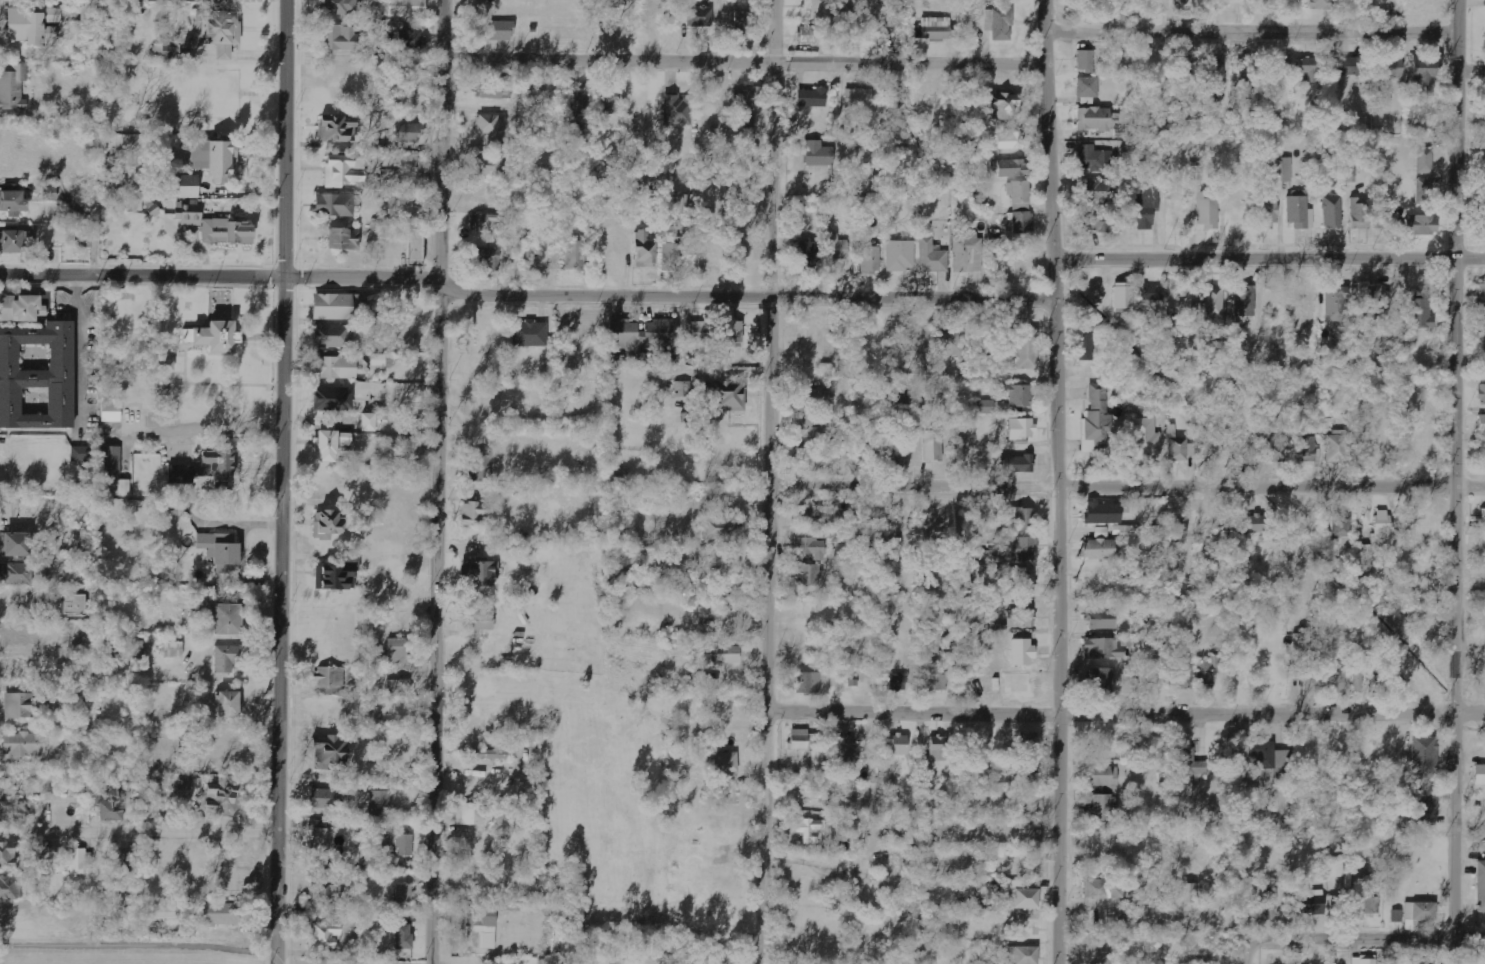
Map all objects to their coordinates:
building: (1182, 1)
building: (612, 3)
building: (1090, 3)
building: (1224, 3)
building: (1260, 3)
building: (231, 4)
building: (1320, 4)
building: (340, 7)
building: (407, 8)
building: (87, 10)
building: (700, 16)
building: (999, 21)
building: (33, 25)
building: (108, 25)
building: (743, 26)
building: (936, 28)
building: (217, 31)
building: (498, 31)
road: (1251, 34)
building: (811, 35)
building: (339, 37)
building: (411, 40)
building: (1085, 61)
road: (743, 64)
building: (1347, 66)
building: (1309, 69)
building: (1390, 69)
road: (1471, 71)
building: (1424, 72)
building: (1088, 87)
building: (1213, 87)
building: (13, 88)
building: (493, 93)
building: (811, 98)
building: (858, 98)
building: (580, 101)
building: (747, 104)
building: (609, 105)
building: (1005, 106)
building: (677, 110)
building: (1093, 119)
building: (489, 124)
building: (1182, 126)
building: (337, 128)
building: (407, 132)
building: (1009, 141)
building: (170, 143)
building: (818, 153)
building: (199, 154)
building: (1094, 158)
building: (223, 161)
building: (1425, 161)
building: (488, 164)
building: (1012, 168)
building: (1287, 169)
building: (343, 170)
building: (1197, 172)
building: (393, 180)
building: (185, 187)
building: (1484, 189)
building: (1424, 190)
building: (1097, 192)
building: (48, 193)
building: (13, 203)
building: (681, 203)
building: (334, 205)
building: (1021, 206)
building: (1147, 206)
building: (1208, 210)
building: (1300, 212)
building: (1332, 212)
building: (1267, 213)
building: (1360, 213)
building: (190, 214)
building: (1381, 219)
building: (485, 221)
building: (1097, 221)
building: (1421, 225)
building: (226, 232)
building: (340, 239)
building: (15, 241)
building: (82, 241)
building: (415, 247)
building: (836, 247)
building: (644, 250)
building: (968, 253)
building: (576, 255)
building: (806, 255)
building: (901, 255)
building: (933, 256)
building: (487, 257)
building: (670, 257)
road: (1268, 259)
building: (871, 260)
road: (220, 278)
building: (1153, 293)
building: (1123, 296)
road: (748, 299)
building: (1480, 301)
building: (1245, 302)
building: (1370, 303)
building: (1210, 304)
building: (1337, 305)
building: (336, 306)
building: (20, 308)
building: (1306, 309)
building: (1420, 311)
building: (662, 333)
building: (734, 333)
building: (529, 334)
building: (626, 334)
building: (695, 334)
building: (211, 335)
building: (331, 336)
building: (982, 341)
building: (951, 342)
building: (1024, 347)
building: (1086, 347)
building: (726, 355)
building: (671, 359)
building: (164, 365)
building: (339, 367)
park: (192, 368)
building: (38, 378)
building: (682, 389)
building: (1482, 394)
building: (1019, 395)
building: (725, 396)
building: (815, 397)
building: (332, 398)
building: (985, 407)
building: (111, 412)
building: (1097, 421)
building: (367, 422)
building: (1481, 424)
building: (810, 427)
building: (1022, 429)
building: (1146, 440)
building: (330, 442)
building: (932, 445)
building: (1337, 447)
building: (1277, 449)
building: (1307, 449)
building: (79, 454)
building: (848, 454)
building: (810, 458)
building: (111, 461)
building: (1017, 464)
building: (480, 466)
building: (221, 468)
building: (180, 473)
road: (439, 481)
road: (770, 481)
road: (1055, 481)
road: (281, 482)
road: (1457, 482)
road: (1127, 484)
building: (124, 488)
building: (1103, 513)
building: (476, 514)
building: (811, 515)
building: (1023, 517)
building: (1483, 519)
building: (326, 524)
building: (1252, 524)
building: (1383, 527)
building: (720, 528)
building: (1340, 528)
building: (1175, 532)
building: (15, 544)
building: (1484, 545)
building: (813, 548)
building: (1022, 549)
building: (1099, 549)
building: (221, 551)
building: (804, 559)
building: (728, 568)
building: (479, 573)
building: (21, 574)
building: (809, 574)
building: (334, 577)
building: (1017, 582)
building: (39, 604)
building: (73, 604)
building: (227, 619)
building: (1021, 619)
building: (1101, 619)
building: (481, 621)
building: (998, 630)
building: (21, 633)
building: (1117, 647)
building: (1302, 648)
building: (173, 649)
building: (399, 651)
building: (728, 655)
building: (226, 658)
building: (1206, 673)
building: (934, 676)
building: (330, 677)
building: (1184, 677)
building: (1100, 680)
building: (1334, 680)
building: (808, 683)
building: (897, 683)
building: (399, 689)
building: (227, 704)
building: (25, 705)
road: (1125, 716)
building: (1027, 741)
building: (804, 742)
building: (898, 744)
building: (24, 745)
building: (330, 753)
building: (938, 753)
building: (488, 754)
building: (1425, 757)
building: (844, 759)
building: (1270, 759)
building: (818, 761)
building: (726, 762)
building: (1191, 763)
building: (884, 767)
building: (1024, 772)
building: (1480, 775)
building: (1103, 776)
building: (185, 784)
building: (222, 798)
building: (324, 798)
building: (111, 804)
building: (379, 804)
building: (1425, 804)
building: (1102, 808)
building: (470, 814)
road: (139, 829)
building: (810, 831)
building: (319, 842)
building: (405, 845)
building: (7, 855)
building: (46, 857)
building: (77, 861)
building: (127, 862)
building: (1335, 867)
building: (1370, 882)
building: (1481, 886)
building: (9, 889)
building: (1104, 889)
building: (1138, 890)
building: (325, 892)
building: (405, 893)
building: (1189, 893)
building: (1022, 899)
building: (1272, 905)
building: (1312, 905)
building: (163, 912)
building: (1419, 913)
building: (217, 914)
building: (1398, 916)
building: (482, 925)
building: (324, 936)
building: (403, 937)
road: (1356, 937)
road: (1, 945)
road: (223, 945)
building: (1021, 955)
building: (1097, 955)

